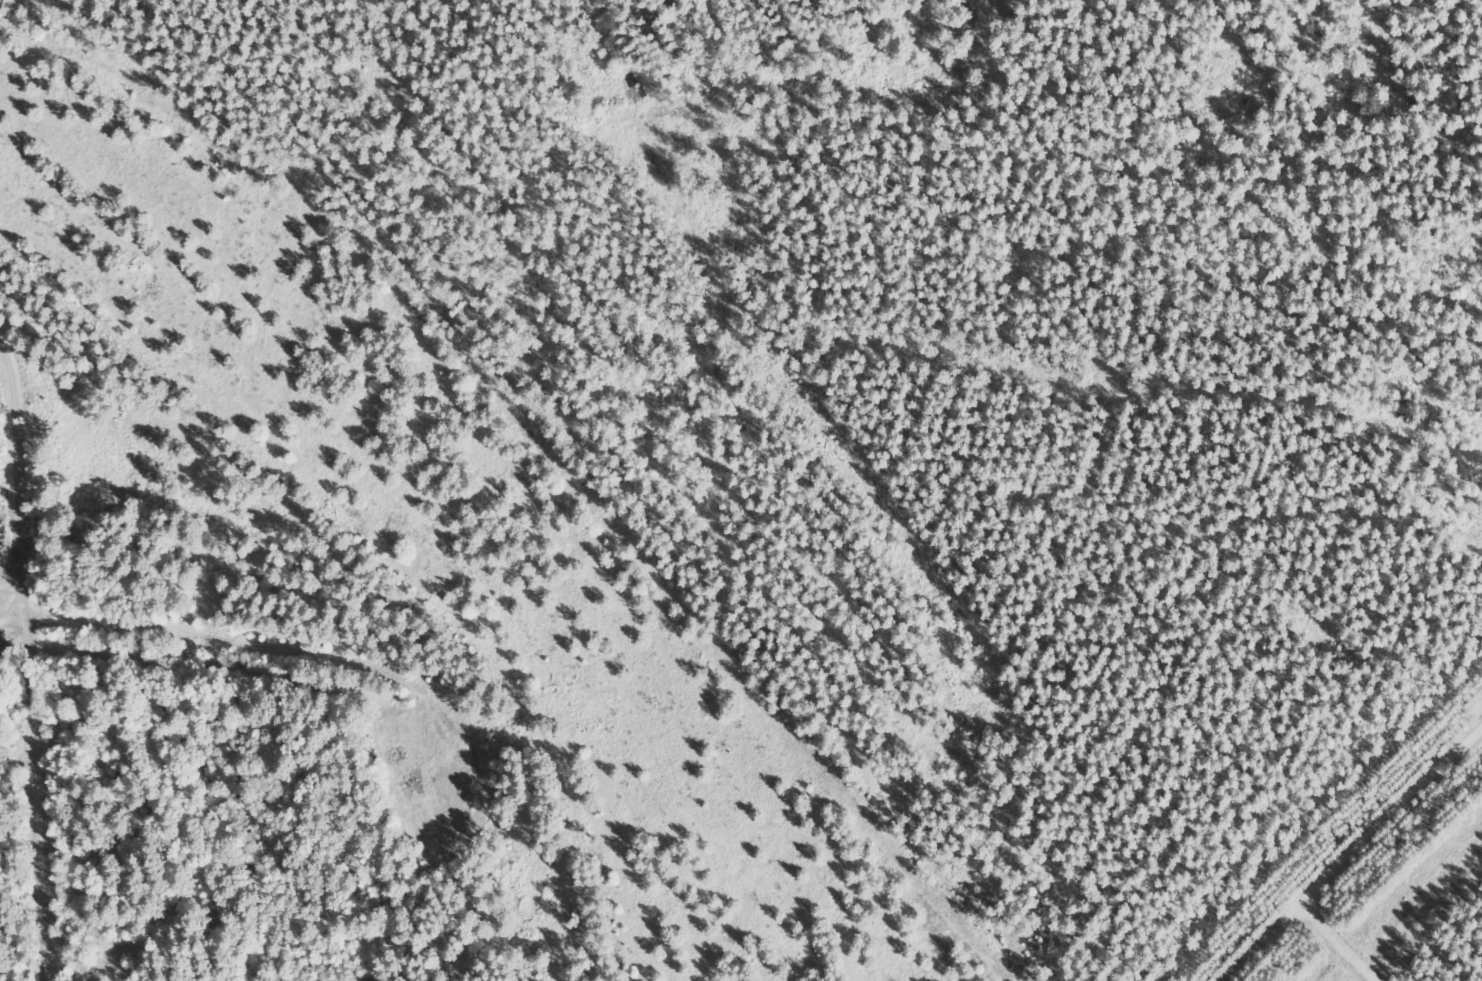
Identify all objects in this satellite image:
road: (1352, 850)

